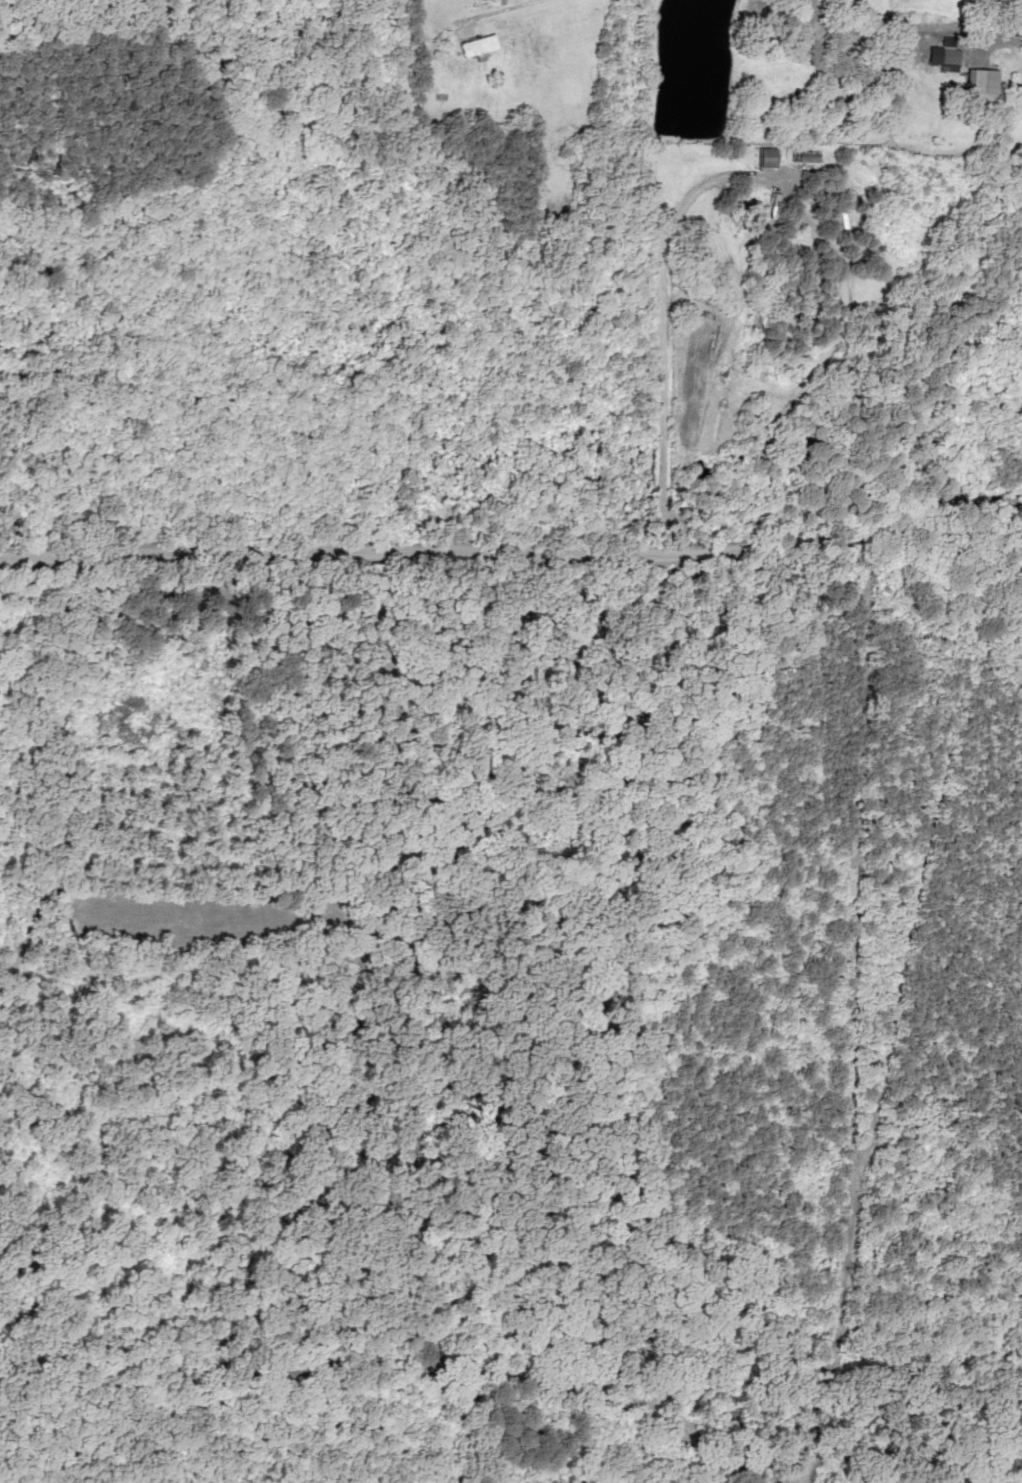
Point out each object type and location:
road: (501, 10)
building: (480, 47)
building: (810, 158)
building: (769, 159)
road: (666, 241)
road: (513, 549)
road: (847, 849)

